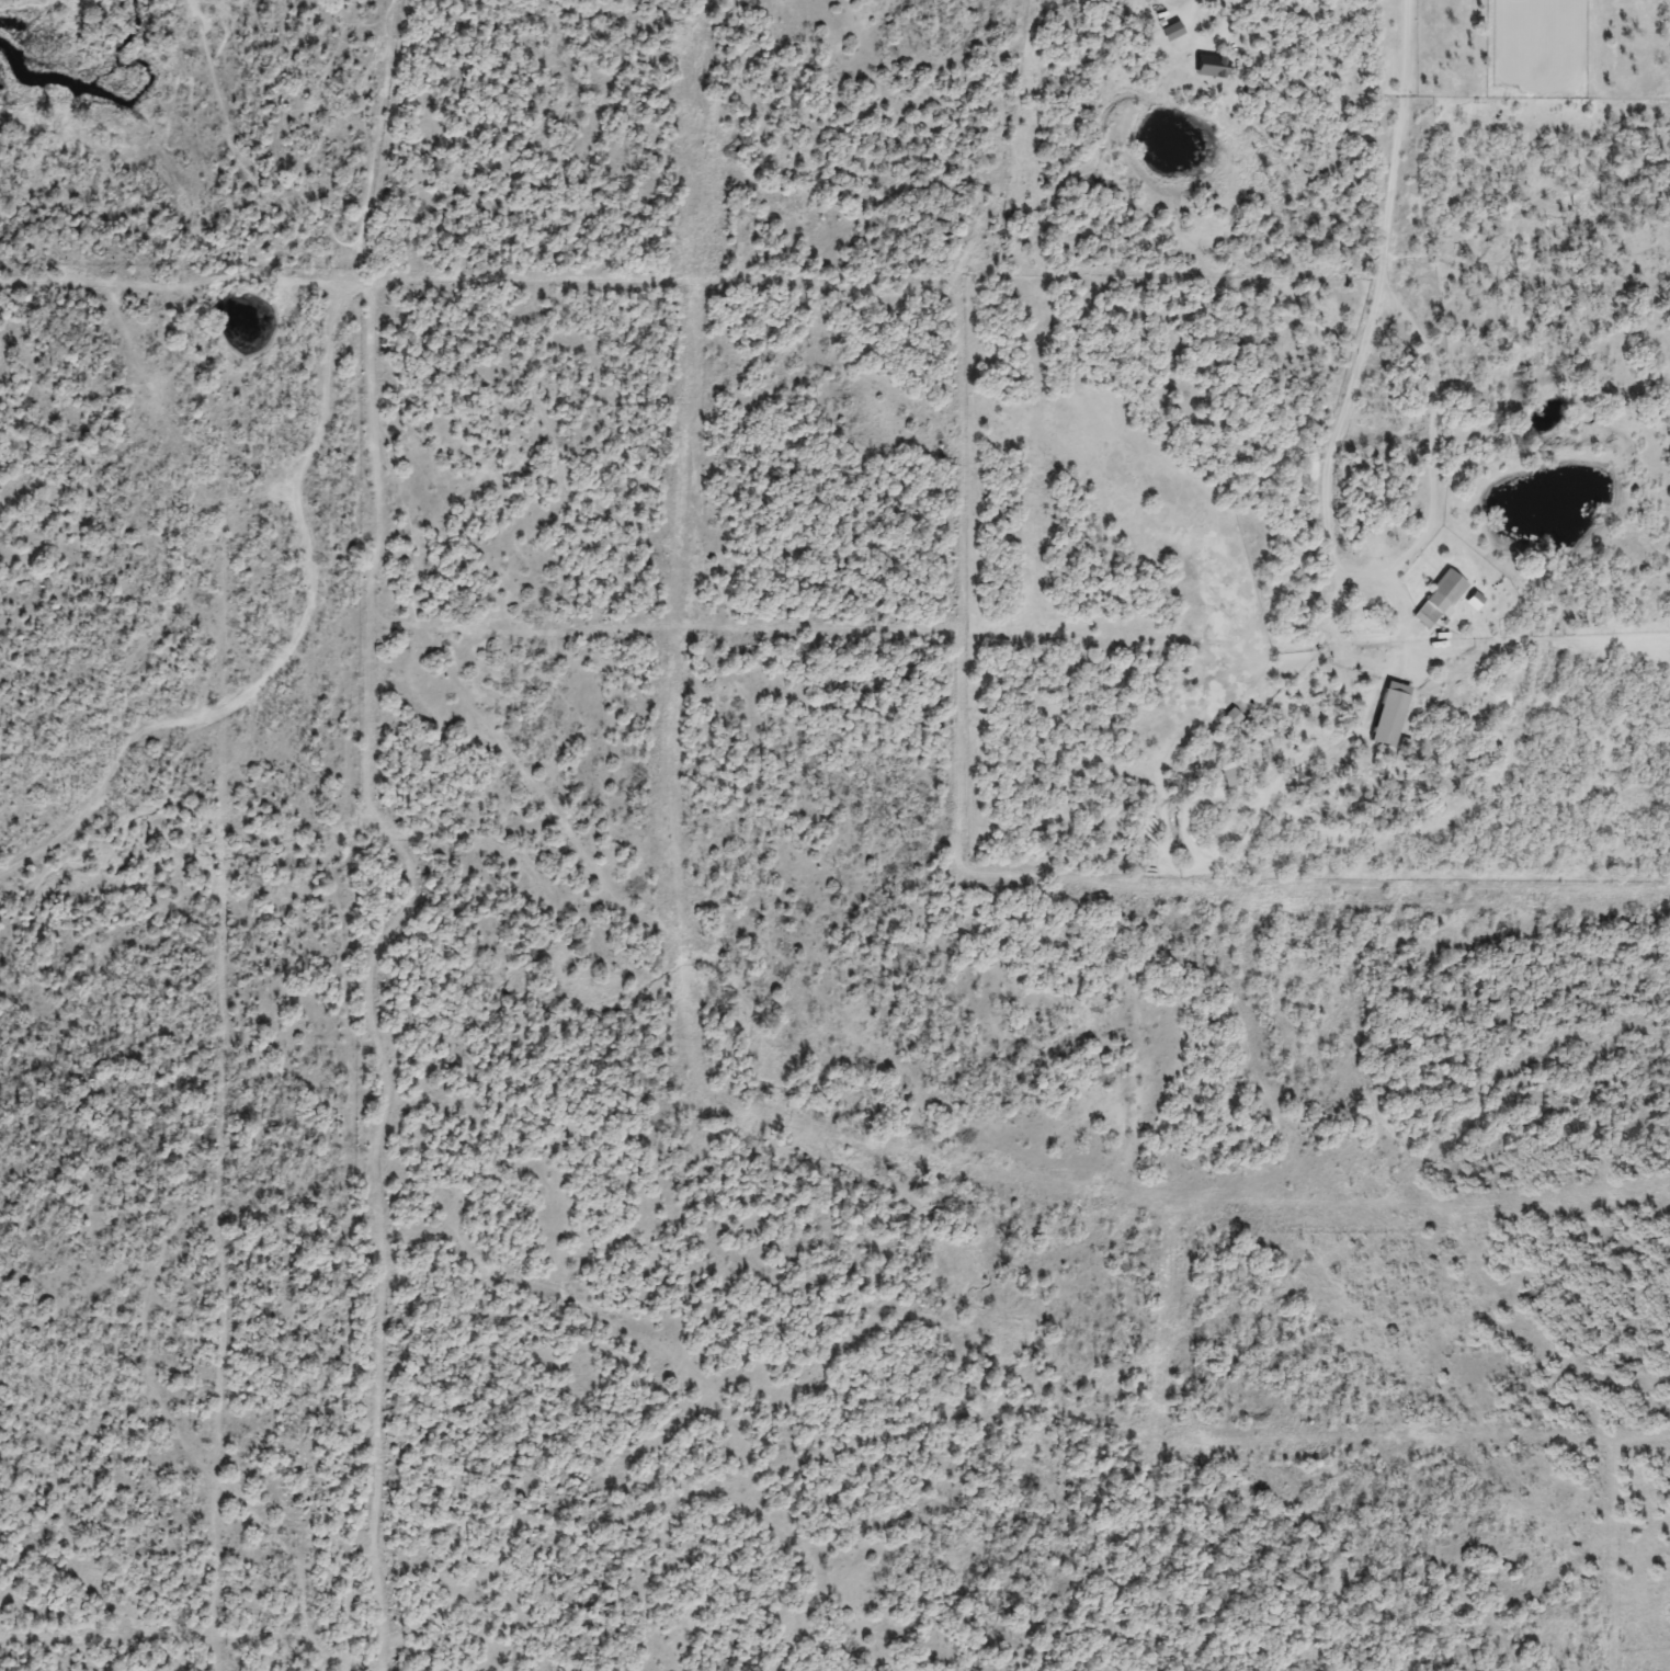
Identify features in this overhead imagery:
building: (1167, 33)
road: (1195, 42)
building: (1204, 66)
road: (1399, 141)
road: (1379, 573)
building: (1439, 596)
building: (1386, 714)
building: (1227, 775)

